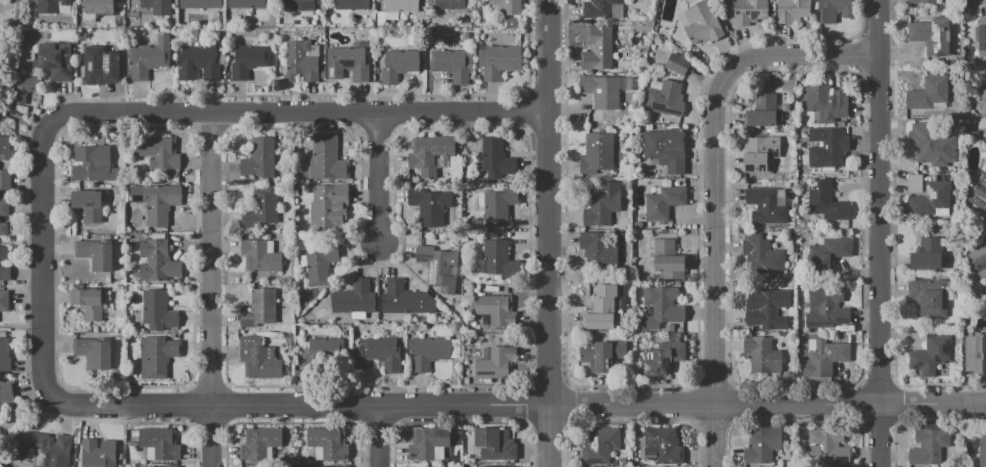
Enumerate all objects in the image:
building: (922, 1)
building: (200, 3)
building: (248, 3)
building: (981, 3)
building: (351, 4)
building: (299, 5)
building: (452, 5)
building: (53, 6)
building: (156, 6)
building: (401, 6)
building: (504, 7)
building: (602, 8)
building: (96, 9)
building: (792, 10)
building: (835, 10)
building: (749, 12)
building: (511, 22)
building: (700, 23)
road: (4, 33)
building: (980, 35)
building: (932, 36)
building: (598, 48)
road: (548, 55)
building: (148, 57)
building: (201, 60)
building: (249, 60)
building: (55, 61)
building: (499, 61)
building: (300, 63)
building: (347, 63)
building: (452, 64)
building: (677, 64)
building: (398, 65)
building: (100, 66)
building: (25, 87)
building: (601, 90)
building: (982, 92)
building: (929, 94)
building: (664, 98)
building: (826, 103)
building: (762, 111)
road: (304, 112)
road: (23, 120)
building: (4, 147)
building: (827, 147)
building: (928, 147)
building: (599, 149)
building: (666, 149)
building: (159, 152)
building: (759, 152)
building: (429, 153)
building: (496, 157)
building: (260, 159)
building: (326, 159)
road: (719, 162)
building: (93, 164)
building: (771, 164)
road: (376, 175)
building: (5, 179)
building: (978, 194)
building: (930, 200)
building: (156, 201)
building: (663, 202)
building: (827, 202)
building: (265, 203)
building: (89, 204)
building: (601, 204)
building: (329, 205)
building: (497, 205)
building: (429, 206)
building: (765, 206)
building: (4, 208)
building: (3, 229)
road: (880, 233)
building: (598, 251)
building: (827, 253)
building: (4, 254)
road: (45, 254)
building: (764, 254)
building: (927, 254)
building: (95, 255)
building: (260, 256)
building: (979, 258)
building: (499, 259)
building: (157, 261)
building: (668, 261)
building: (311, 267)
building: (439, 268)
building: (5, 273)
road: (547, 289)
road: (208, 290)
building: (354, 298)
building: (929, 298)
building: (405, 299)
building: (4, 301)
building: (88, 302)
building: (661, 307)
building: (765, 307)
building: (259, 309)
building: (495, 309)
building: (600, 309)
building: (827, 309)
building: (158, 311)
building: (320, 350)
building: (974, 351)
building: (94, 353)
building: (427, 353)
building: (377, 354)
building: (601, 354)
building: (4, 355)
building: (762, 355)
building: (930, 355)
building: (157, 356)
building: (824, 357)
building: (259, 359)
building: (662, 359)
building: (495, 362)
road: (570, 387)
building: (5, 394)
road: (517, 407)
road: (461, 422)
road: (294, 423)
road: (211, 425)
road: (378, 426)
road: (378, 437)
road: (721, 437)
building: (159, 443)
building: (260, 443)
building: (327, 444)
building: (428, 444)
building: (495, 444)
building: (601, 445)
building: (661, 445)
building: (762, 446)
building: (826, 446)
building: (928, 446)
building: (43, 449)
building: (982, 452)
building: (98, 453)
building: (120, 466)
building: (149, 466)
building: (326, 466)
building: (438, 466)
building: (497, 466)

